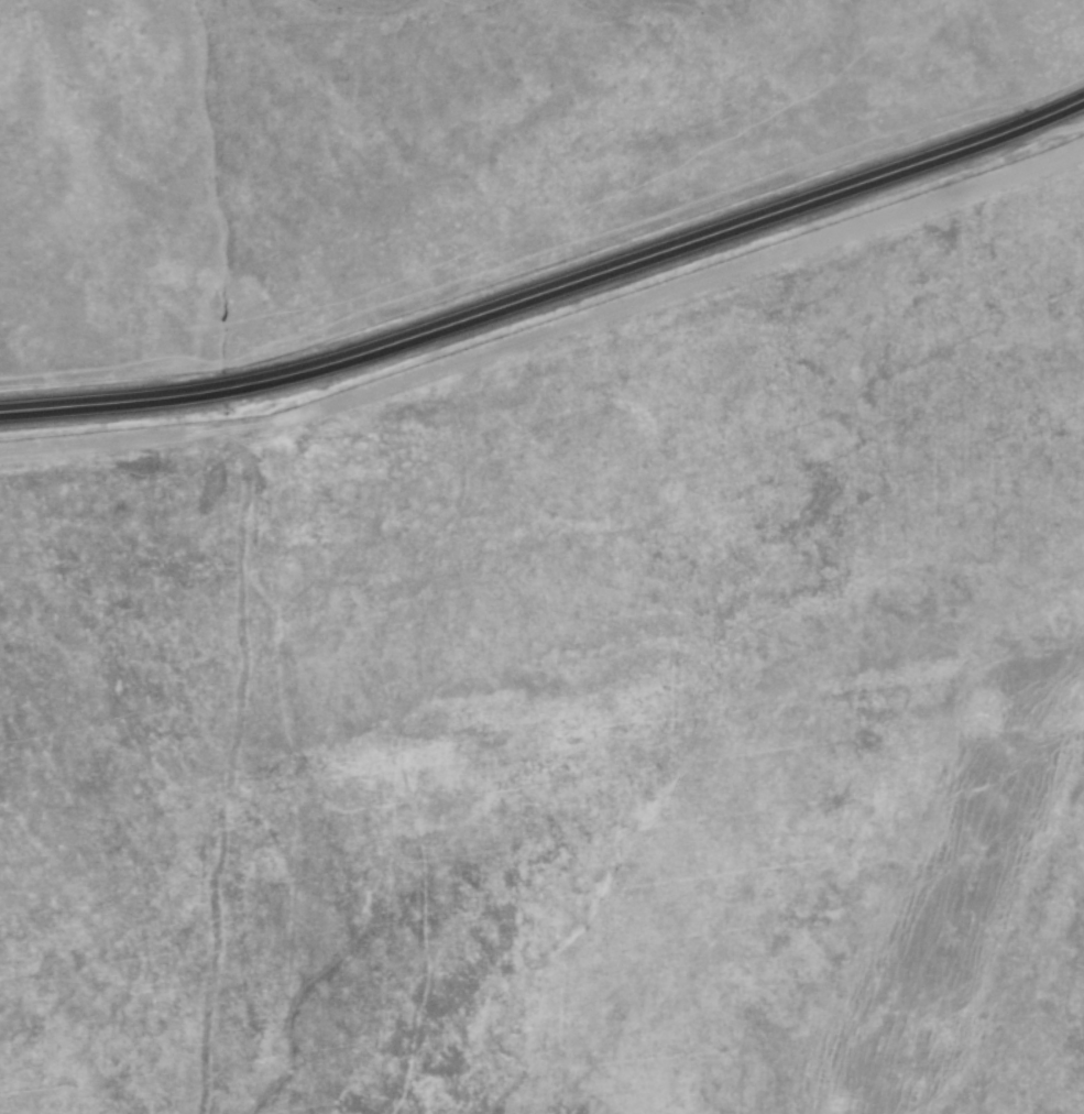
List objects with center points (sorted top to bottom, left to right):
road: (548, 278)
airport: (578, 695)

